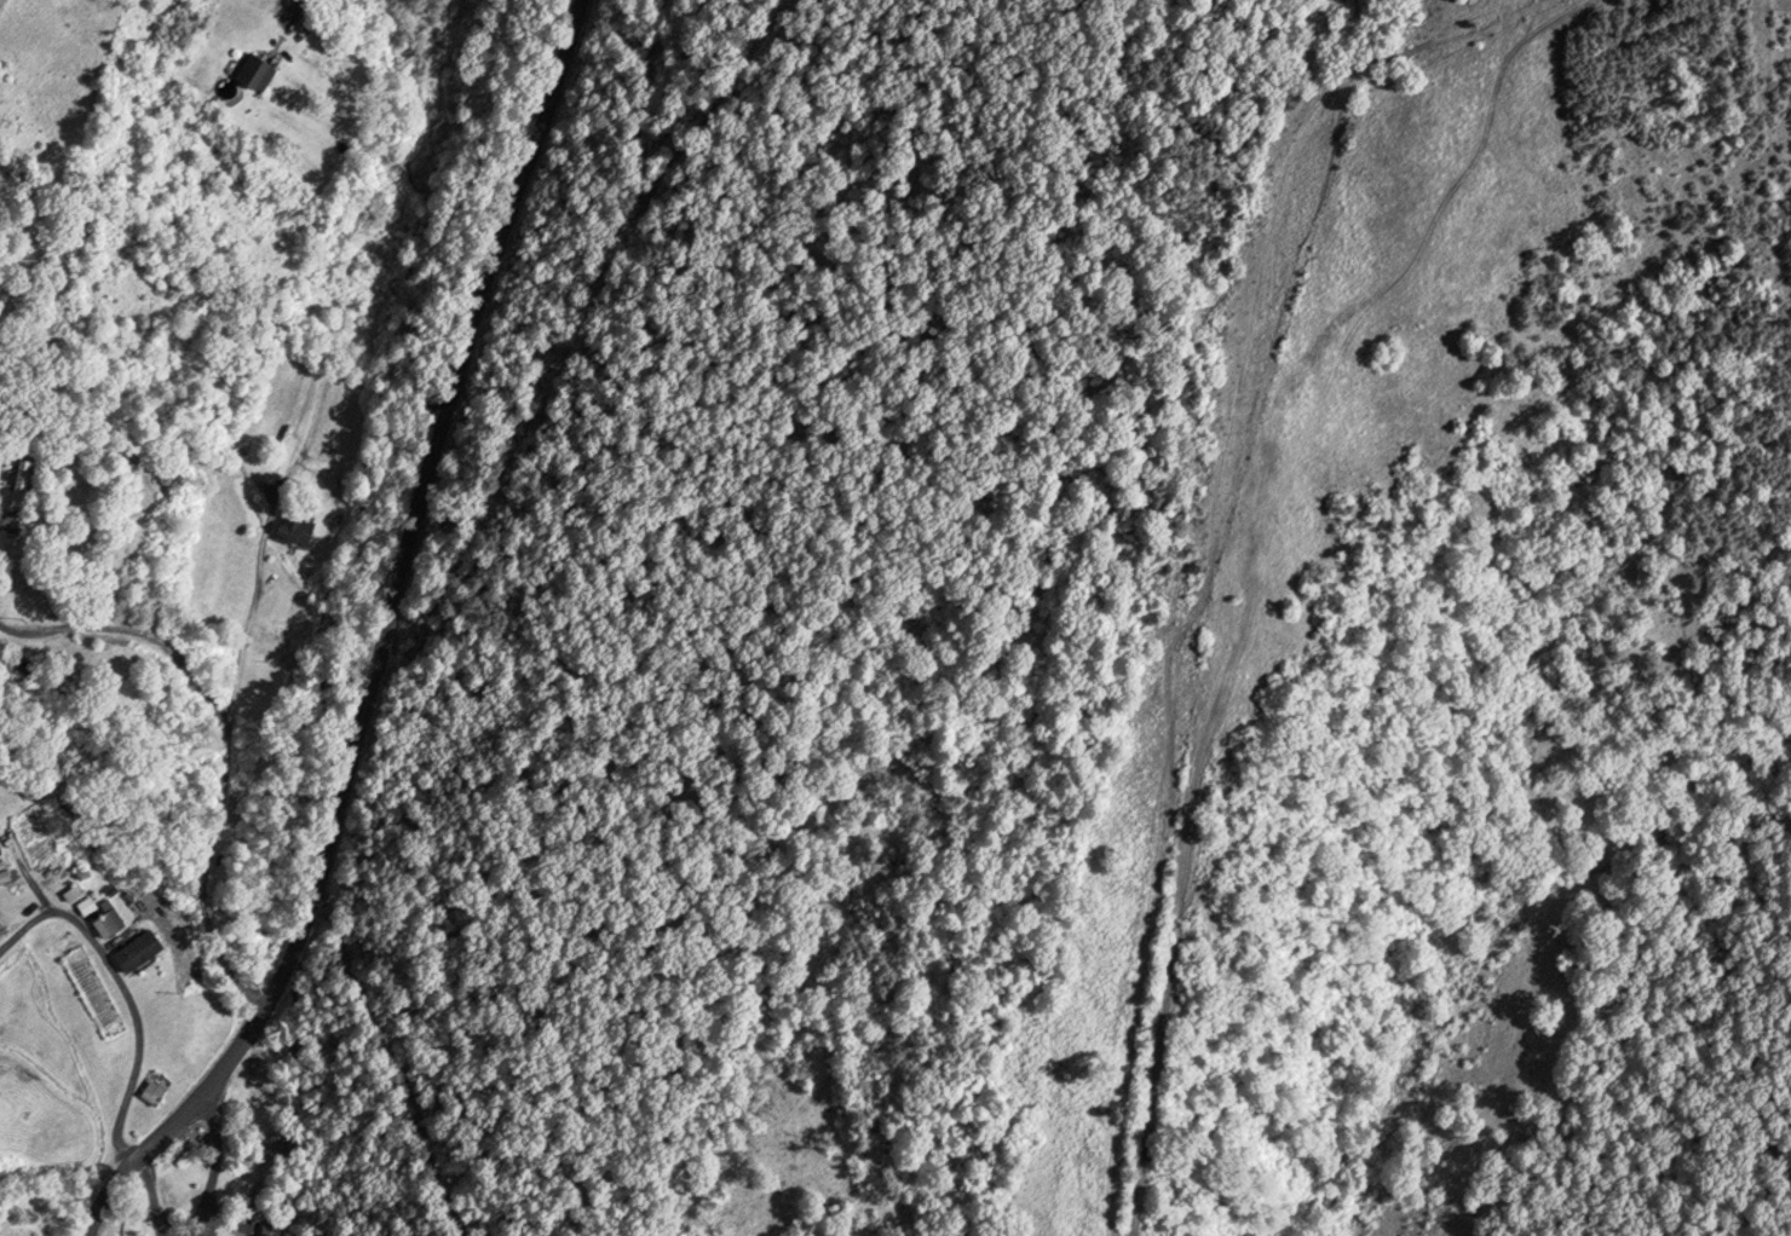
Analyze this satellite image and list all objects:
building: (263, 73)
building: (295, 526)
road: (376, 642)
road: (188, 849)
building: (109, 922)
building: (138, 949)
building: (155, 1087)

